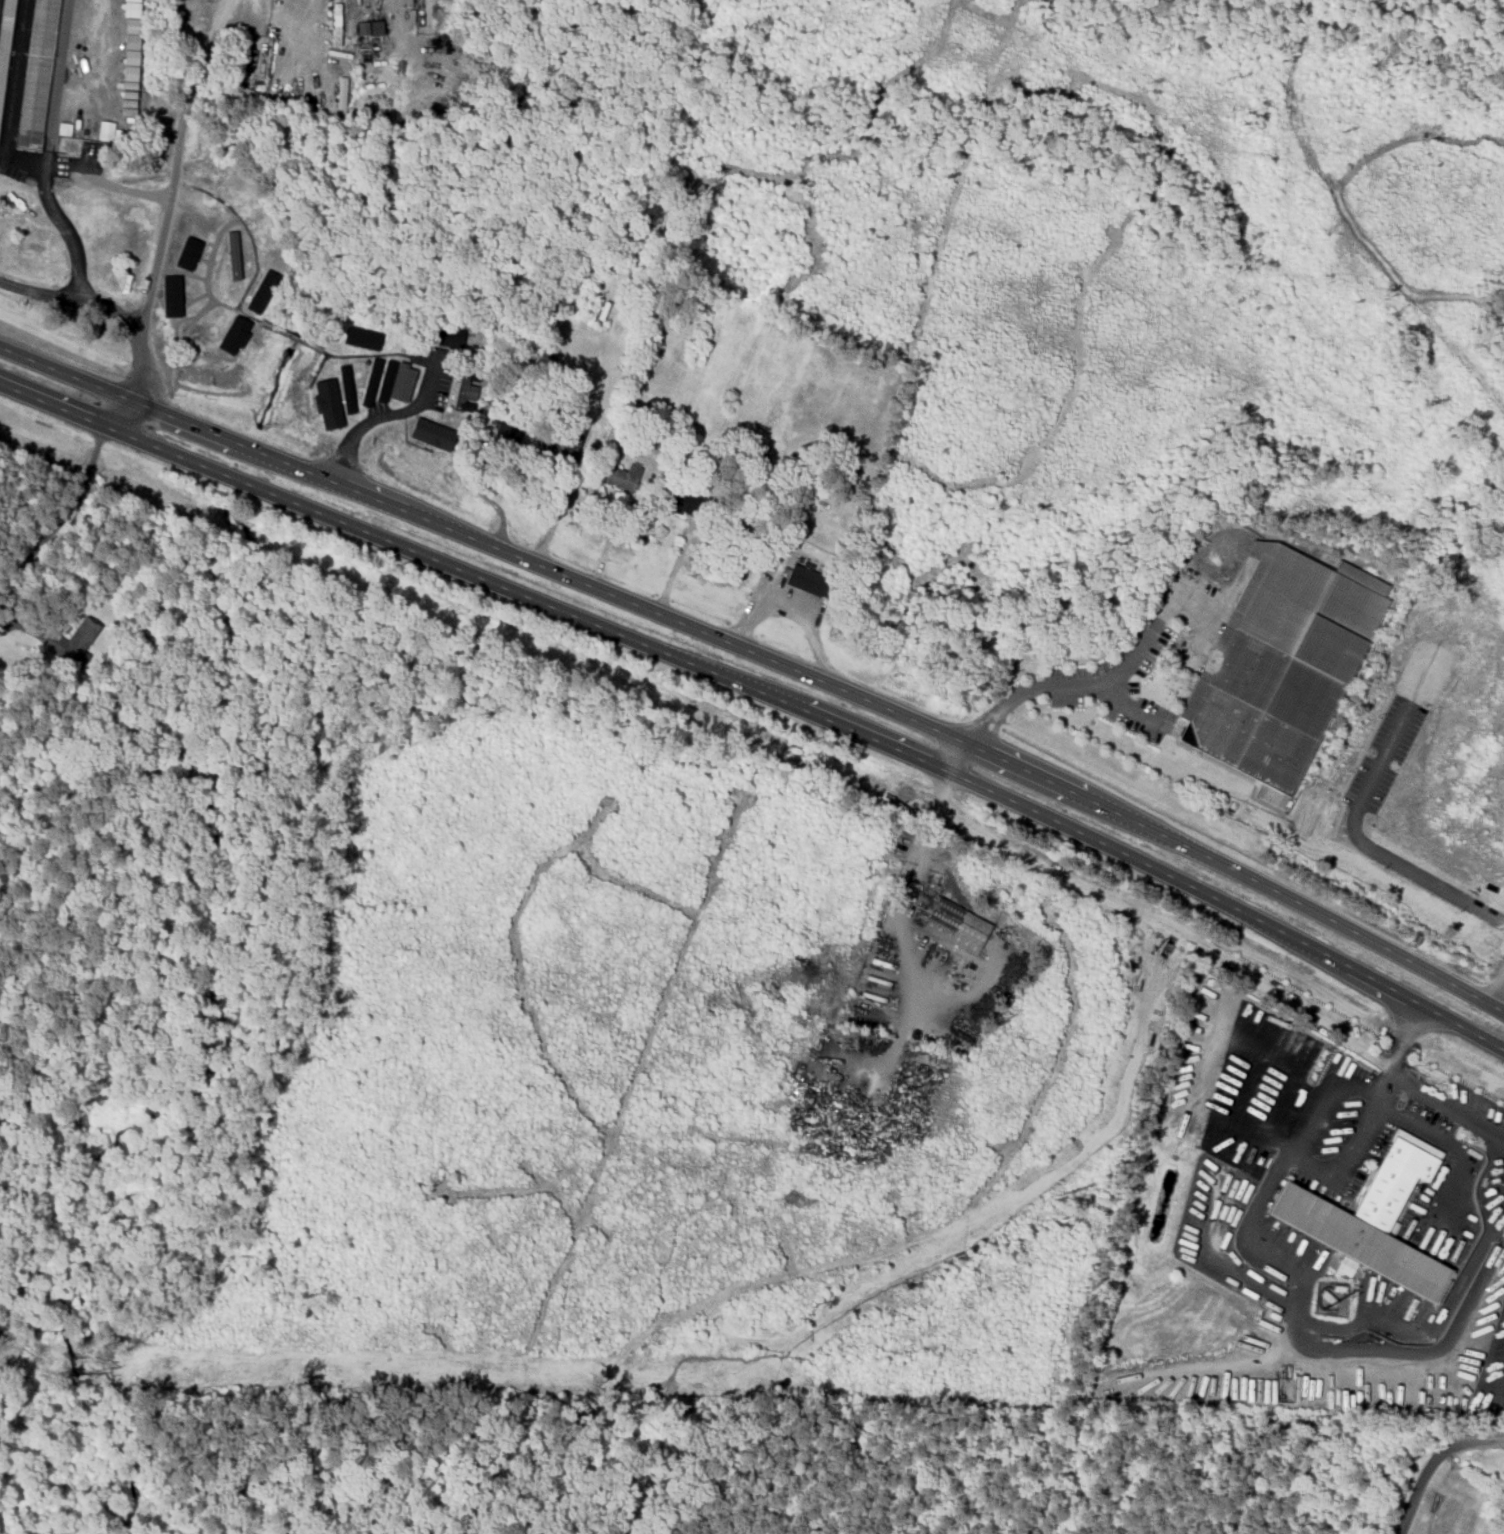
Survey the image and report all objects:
building: (371, 28)
building: (4, 39)
building: (36, 74)
building: (341, 95)
building: (110, 132)
road: (50, 152)
road: (175, 166)
road: (125, 190)
building: (226, 194)
building: (263, 236)
building: (191, 248)
building: (233, 254)
building: (263, 292)
building: (173, 296)
road: (107, 309)
building: (235, 335)
building: (200, 336)
building: (362, 337)
building: (447, 338)
building: (386, 379)
building: (400, 381)
building: (371, 382)
building: (463, 389)
building: (346, 391)
road: (386, 416)
road: (130, 418)
building: (430, 429)
building: (507, 434)
building: (562, 447)
building: (619, 476)
building: (684, 502)
road: (54, 531)
building: (807, 580)
building: (71, 645)
road: (762, 655)
building: (1279, 666)
road: (765, 692)
road: (1088, 692)
road: (957, 755)
road: (1351, 821)
building: (956, 927)
road: (1402, 1041)
road: (1322, 1102)
road: (1446, 1108)
building: (1395, 1179)
building: (1361, 1241)
road: (1290, 1295)
road: (1430, 1462)

